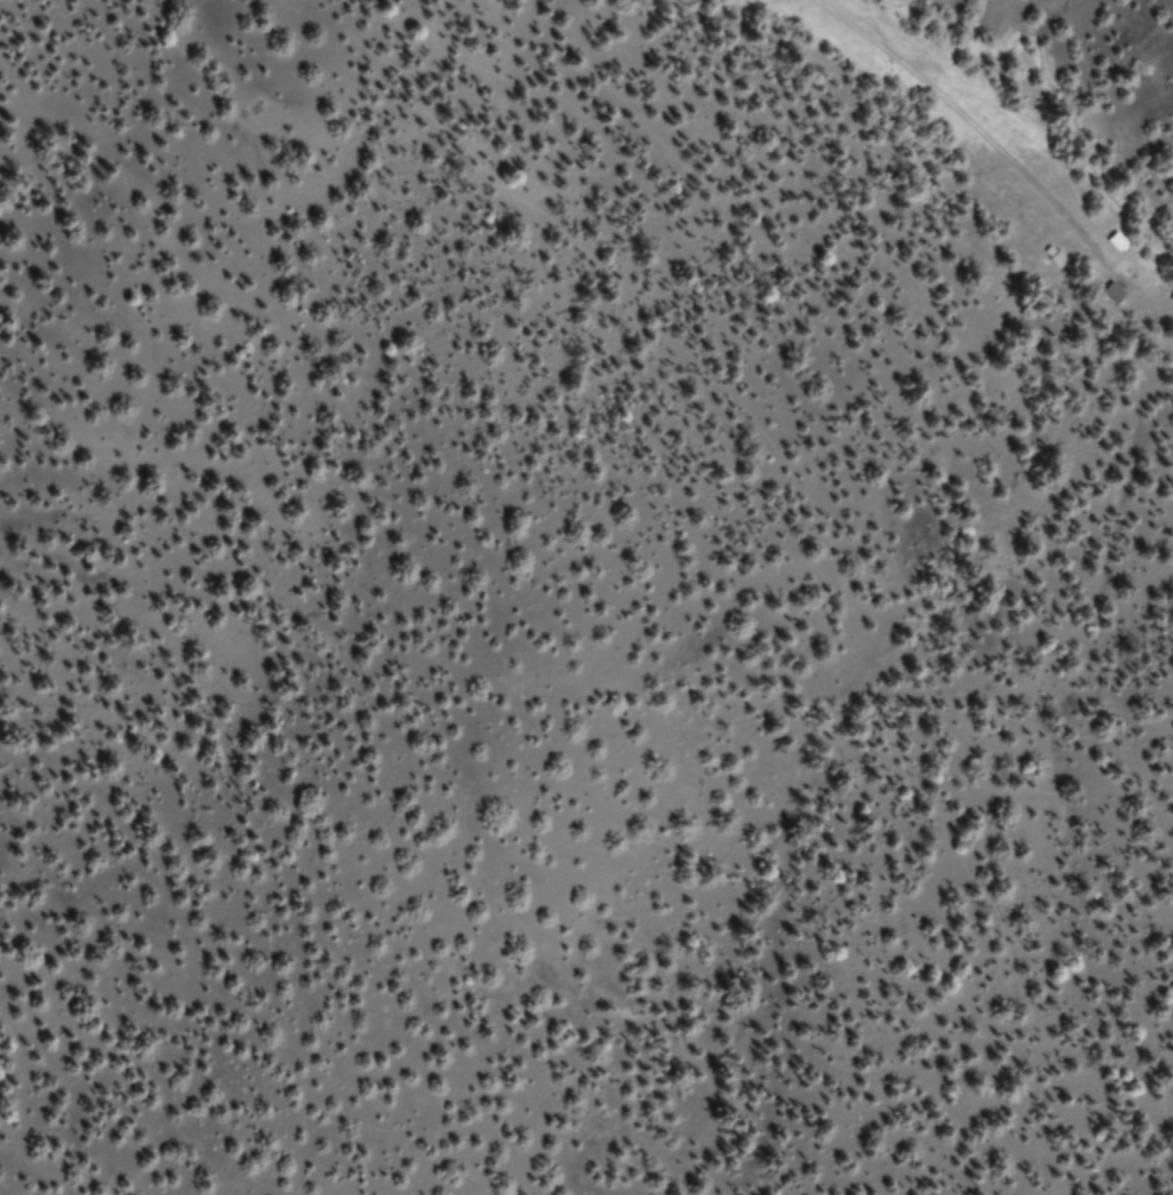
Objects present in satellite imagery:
road: (987, 146)
building: (1117, 244)
building: (1054, 258)

